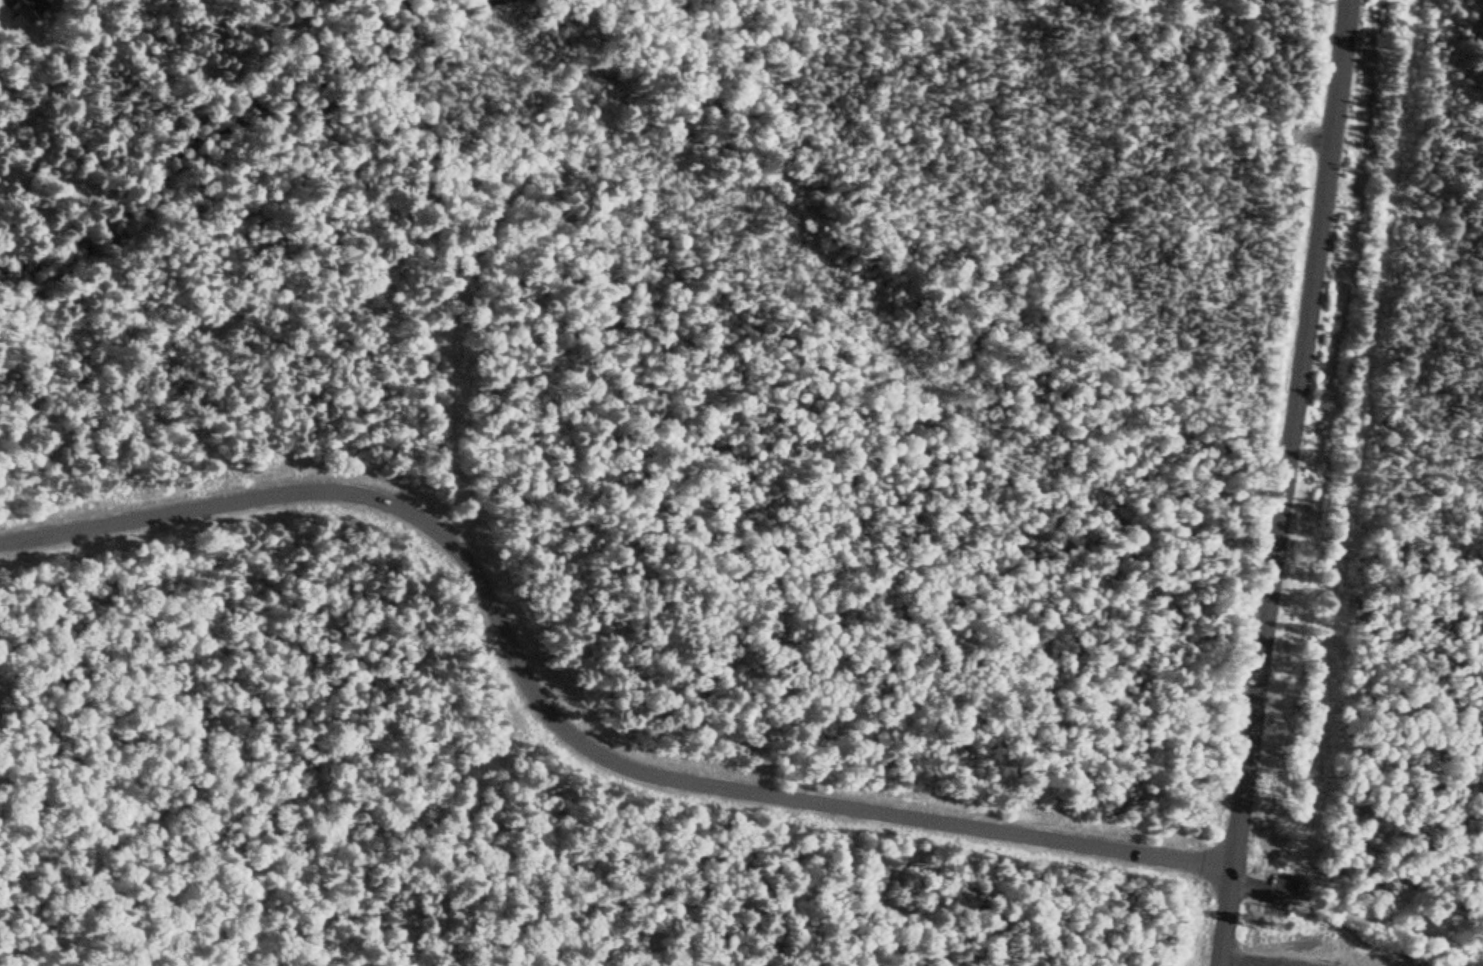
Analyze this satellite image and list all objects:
building: (16, 10)
road: (1285, 483)
road: (563, 729)
road: (1356, 918)

